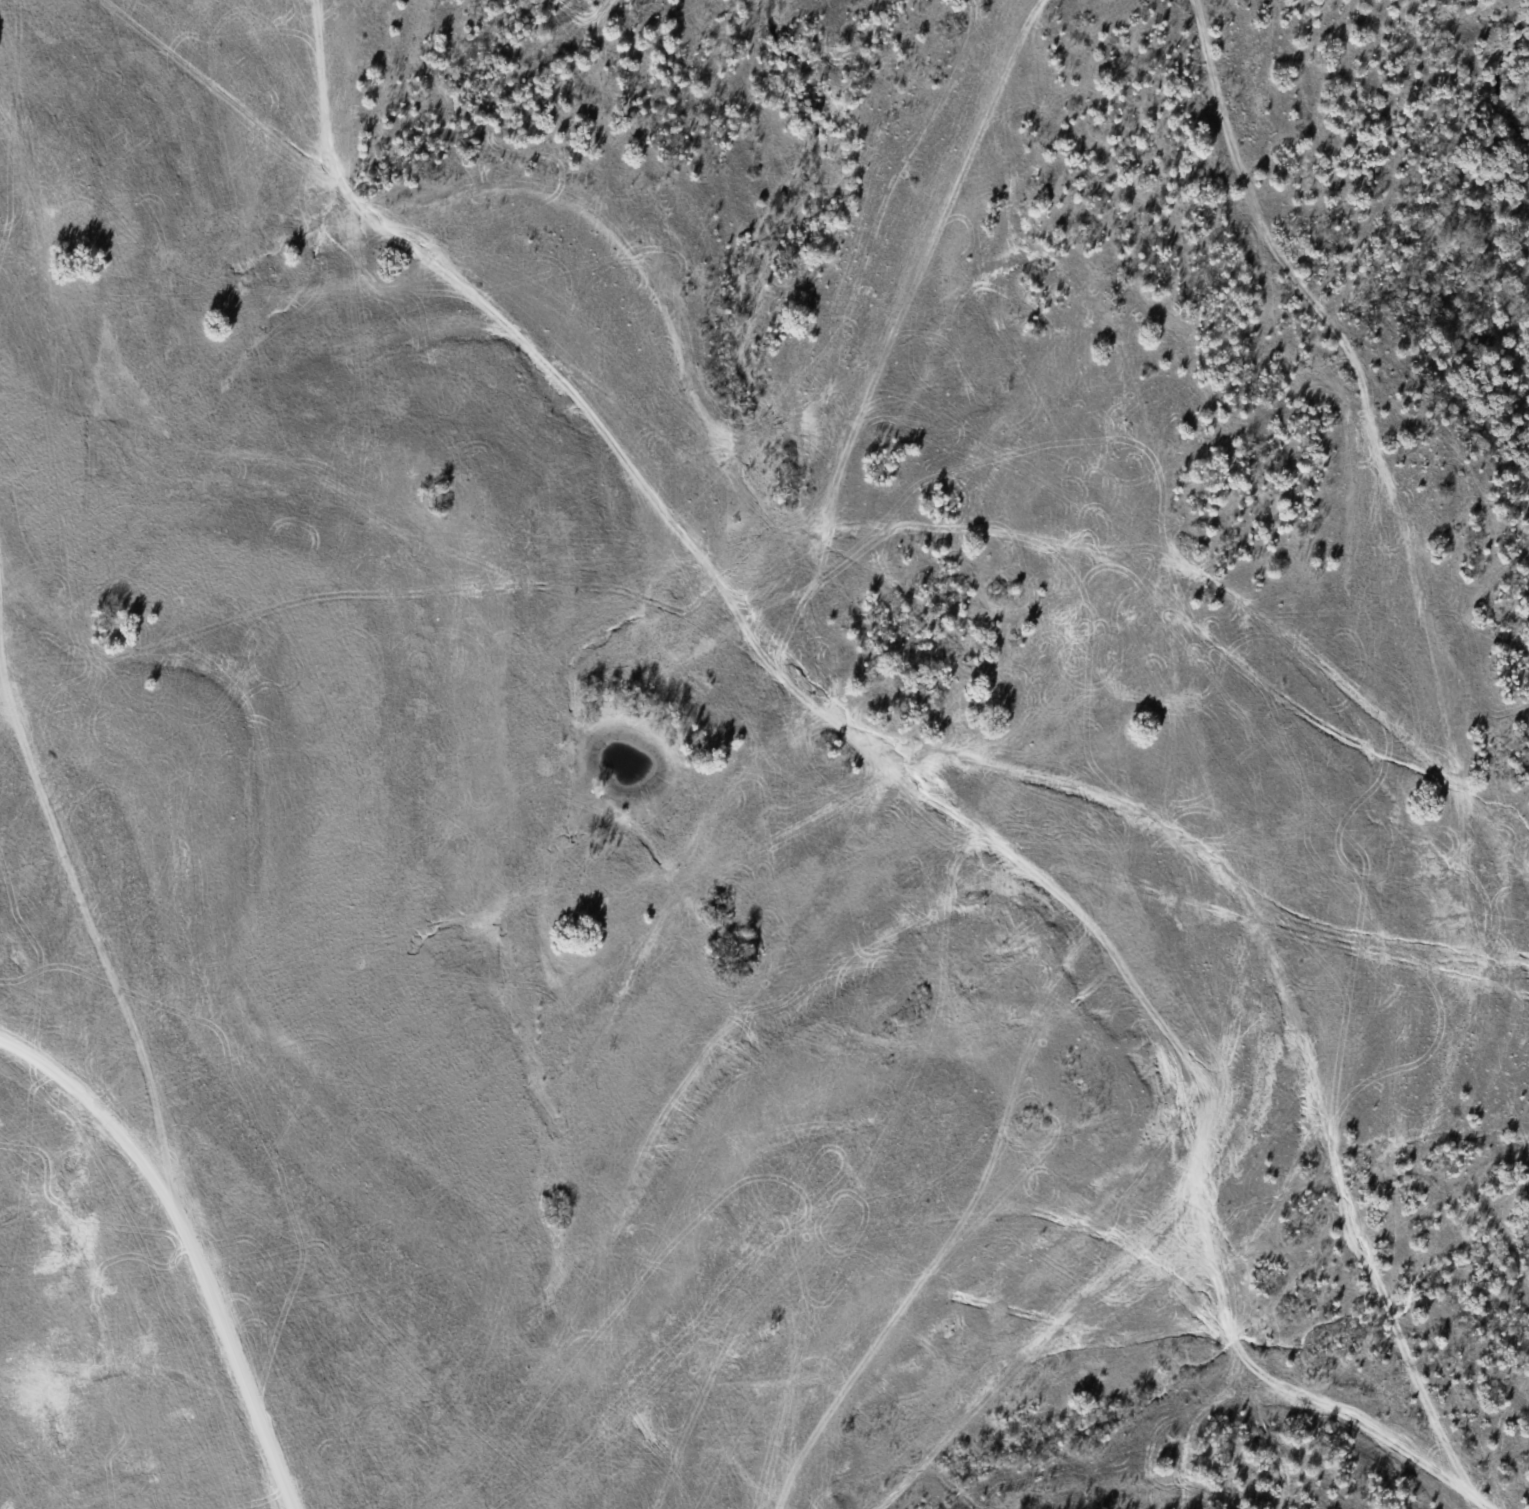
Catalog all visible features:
road: (192, 1239)

